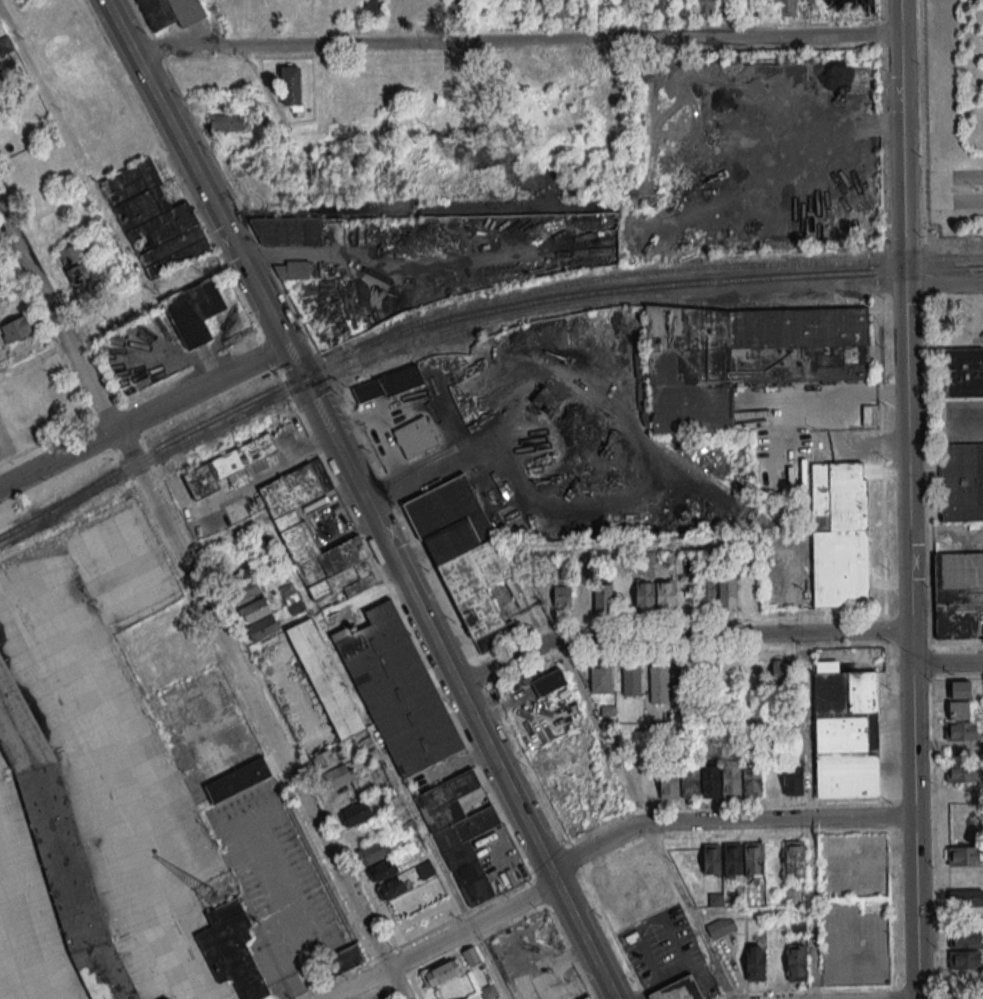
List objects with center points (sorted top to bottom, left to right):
building: (610, 4)
building: (538, 7)
building: (663, 7)
building: (786, 7)
building: (373, 8)
building: (458, 8)
building: (561, 8)
building: (704, 8)
building: (394, 9)
building: (170, 12)
road: (878, 12)
road: (879, 32)
road: (514, 40)
building: (5, 46)
building: (290, 85)
road: (920, 121)
building: (226, 123)
road: (882, 144)
road: (75, 152)
road: (941, 176)
road: (942, 202)
road: (415, 217)
building: (154, 219)
building: (287, 231)
building: (70, 255)
road: (923, 256)
road: (884, 258)
building: (296, 269)
railway: (661, 269)
building: (79, 273)
road: (943, 284)
railway: (635, 286)
railway: (684, 300)
building: (195, 312)
road: (118, 314)
road: (270, 315)
building: (16, 328)
railway: (446, 331)
railway: (397, 352)
building: (745, 358)
building: (963, 372)
building: (388, 384)
road: (142, 416)
railway: (216, 416)
building: (415, 437)
building: (228, 467)
road: (409, 474)
building: (961, 480)
railway: (88, 481)
road: (907, 499)
building: (289, 520)
railway: (24, 524)
building: (840, 533)
building: (463, 552)
building: (242, 582)
building: (706, 589)
building: (727, 592)
building: (560, 593)
building: (665, 594)
building: (645, 595)
building: (959, 595)
building: (583, 596)
building: (290, 597)
building: (603, 597)
road: (204, 604)
building: (259, 619)
road: (730, 634)
building: (186, 644)
road: (504, 662)
road: (946, 662)
building: (712, 663)
building: (781, 670)
building: (326, 677)
building: (684, 677)
building: (600, 678)
building: (629, 679)
building: (548, 681)
building: (659, 683)
building: (959, 688)
building: (397, 689)
building: (958, 709)
road: (365, 715)
building: (961, 730)
building: (846, 731)
building: (329, 757)
building: (961, 772)
building: (793, 774)
building: (336, 776)
building: (711, 779)
building: (237, 780)
building: (361, 816)
road: (521, 816)
road: (642, 819)
road: (725, 819)
building: (461, 830)
building: (59, 849)
building: (372, 852)
building: (964, 854)
building: (753, 857)
building: (711, 858)
building: (733, 858)
building: (794, 858)
building: (383, 869)
building: (425, 869)
building: (393, 887)
building: (793, 893)
building: (966, 897)
building: (801, 924)
building: (721, 926)
building: (965, 938)
road: (444, 941)
building: (231, 951)
road: (18, 952)
building: (471, 955)
building: (345, 958)
building: (965, 959)
building: (796, 961)
building: (755, 962)
building: (441, 973)
road: (659, 983)
building: (678, 989)
building: (489, 991)
building: (169, 998)
building: (466, 998)
building: (590, 998)

